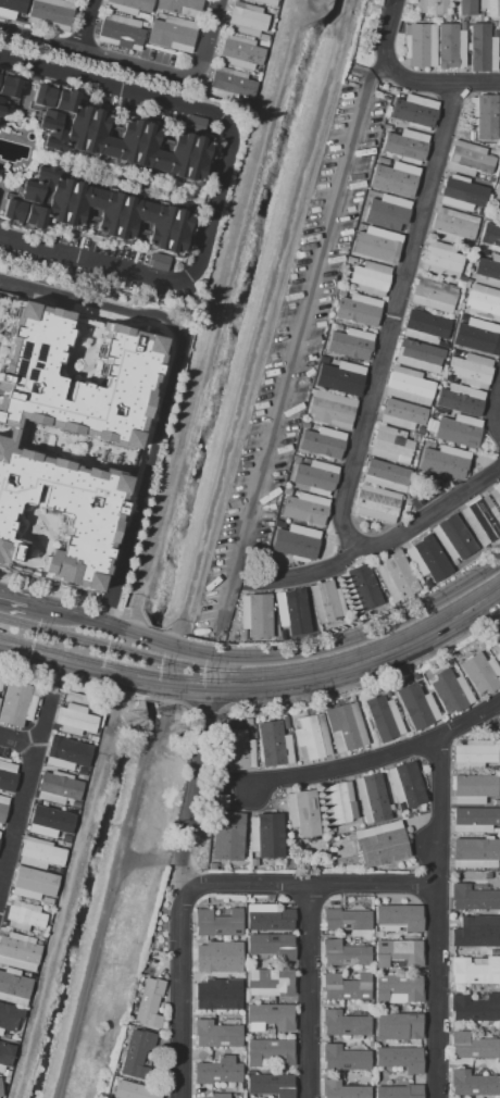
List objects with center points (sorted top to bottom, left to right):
building: (266, 2)
building: (128, 7)
building: (180, 7)
building: (432, 7)
building: (465, 7)
building: (490, 8)
building: (13, 9)
power tower: (358, 11)
building: (51, 13)
building: (142, 15)
building: (160, 16)
building: (452, 18)
building: (248, 20)
road: (290, 22)
building: (467, 24)
building: (495, 24)
road: (90, 25)
building: (120, 32)
building: (172, 34)
road: (387, 34)
road: (210, 41)
building: (420, 45)
building: (499, 47)
building: (482, 48)
building: (449, 49)
building: (240, 53)
road: (99, 54)
road: (441, 82)
building: (230, 85)
building: (8, 89)
building: (415, 112)
building: (483, 117)
building: (113, 137)
building: (405, 146)
building: (468, 159)
building: (383, 161)
building: (499, 166)
building: (395, 178)
building: (490, 180)
road: (221, 183)
park: (170, 191)
building: (462, 194)
building: (497, 195)
building: (386, 213)
building: (479, 213)
building: (100, 214)
building: (452, 225)
building: (359, 226)
building: (490, 236)
building: (377, 245)
building: (479, 251)
building: (441, 259)
building: (489, 270)
building: (470, 271)
building: (368, 278)
building: (467, 284)
building: (433, 294)
building: (483, 302)
building: (357, 309)
road: (393, 320)
building: (466, 320)
building: (424, 326)
building: (336, 327)
building: (480, 338)
building: (350, 344)
building: (445, 344)
road: (298, 348)
building: (420, 355)
building: (323, 360)
building: (471, 371)
building: (340, 378)
building: (409, 385)
road: (165, 387)
building: (460, 399)
building: (332, 409)
road: (493, 410)
building: (439, 412)
building: (402, 414)
building: (304, 425)
building: (421, 429)
building: (458, 431)
building: (410, 434)
building: (416, 434)
building: (120, 442)
building: (322, 442)
building: (391, 445)
building: (296, 458)
building: (443, 462)
building: (385, 475)
building: (315, 476)
building: (286, 491)
building: (496, 494)
building: (376, 502)
building: (305, 510)
building: (482, 520)
building: (278, 524)
building: (453, 538)
building: (296, 542)
road: (383, 544)
building: (425, 554)
building: (284, 562)
building: (395, 575)
building: (361, 588)
building: (326, 602)
road: (29, 606)
building: (291, 609)
building: (257, 615)
building: (361, 619)
railway: (58, 633)
building: (242, 634)
building: (478, 645)
building: (497, 649)
railway: (49, 650)
road: (287, 656)
building: (447, 661)
railway: (315, 663)
road: (59, 664)
building: (480, 673)
railway: (309, 674)
road: (215, 675)
road: (366, 679)
building: (1, 682)
road: (95, 686)
road: (317, 686)
building: (450, 691)
building: (16, 704)
building: (415, 707)
road: (204, 710)
building: (383, 718)
road: (468, 718)
building: (76, 720)
power tower: (137, 720)
building: (249, 722)
building: (285, 723)
building: (346, 727)
power tower: (178, 731)
building: (92, 738)
building: (312, 738)
road: (20, 744)
building: (274, 745)
building: (240, 750)
building: (67, 753)
building: (473, 754)
road: (343, 769)
building: (73, 770)
building: (7, 776)
building: (407, 786)
building: (60, 788)
building: (473, 788)
road: (193, 793)
road: (26, 795)
building: (372, 798)
building: (221, 801)
building: (496, 802)
building: (337, 803)
building: (2, 807)
building: (303, 812)
building: (475, 820)
building: (46, 821)
building: (332, 829)
building: (0, 834)
building: (266, 835)
building: (227, 836)
building: (350, 837)
building: (380, 844)
building: (476, 851)
building: (40, 853)
road: (149, 861)
building: (253, 862)
building: (351, 862)
building: (212, 865)
building: (47, 869)
building: (52, 870)
road: (309, 883)
building: (30, 885)
road: (109, 893)
building: (472, 898)
building: (47, 900)
building: (24, 916)
road: (436, 916)
building: (267, 918)
building: (398, 918)
building: (346, 920)
building: (218, 922)
building: (475, 932)
building: (29, 933)
building: (380, 934)
building: (272, 945)
building: (157, 947)
building: (18, 951)
building: (345, 953)
building: (398, 953)
building: (218, 957)
building: (474, 972)
building: (270, 982)
building: (15, 986)
building: (346, 987)
building: (398, 989)
road: (307, 990)
road: (179, 994)
building: (218, 995)
building: (246, 1002)
building: (149, 1003)
building: (474, 1008)
building: (364, 1009)
building: (9, 1018)
building: (268, 1019)
building: (343, 1024)
building: (399, 1024)
building: (3, 1034)
building: (217, 1034)
building: (8, 1036)
building: (472, 1046)
building: (270, 1052)
building: (136, 1053)
building: (5, 1056)
building: (343, 1059)
building: (400, 1059)
building: (218, 1071)
building: (7, 1073)
building: (7, 1080)
building: (361, 1081)
building: (346, 1082)
building: (472, 1083)
building: (271, 1084)
building: (1, 1088)
building: (134, 1090)
building: (342, 1090)
building: (399, 1091)
building: (220, 1096)
building: (236, 1096)

